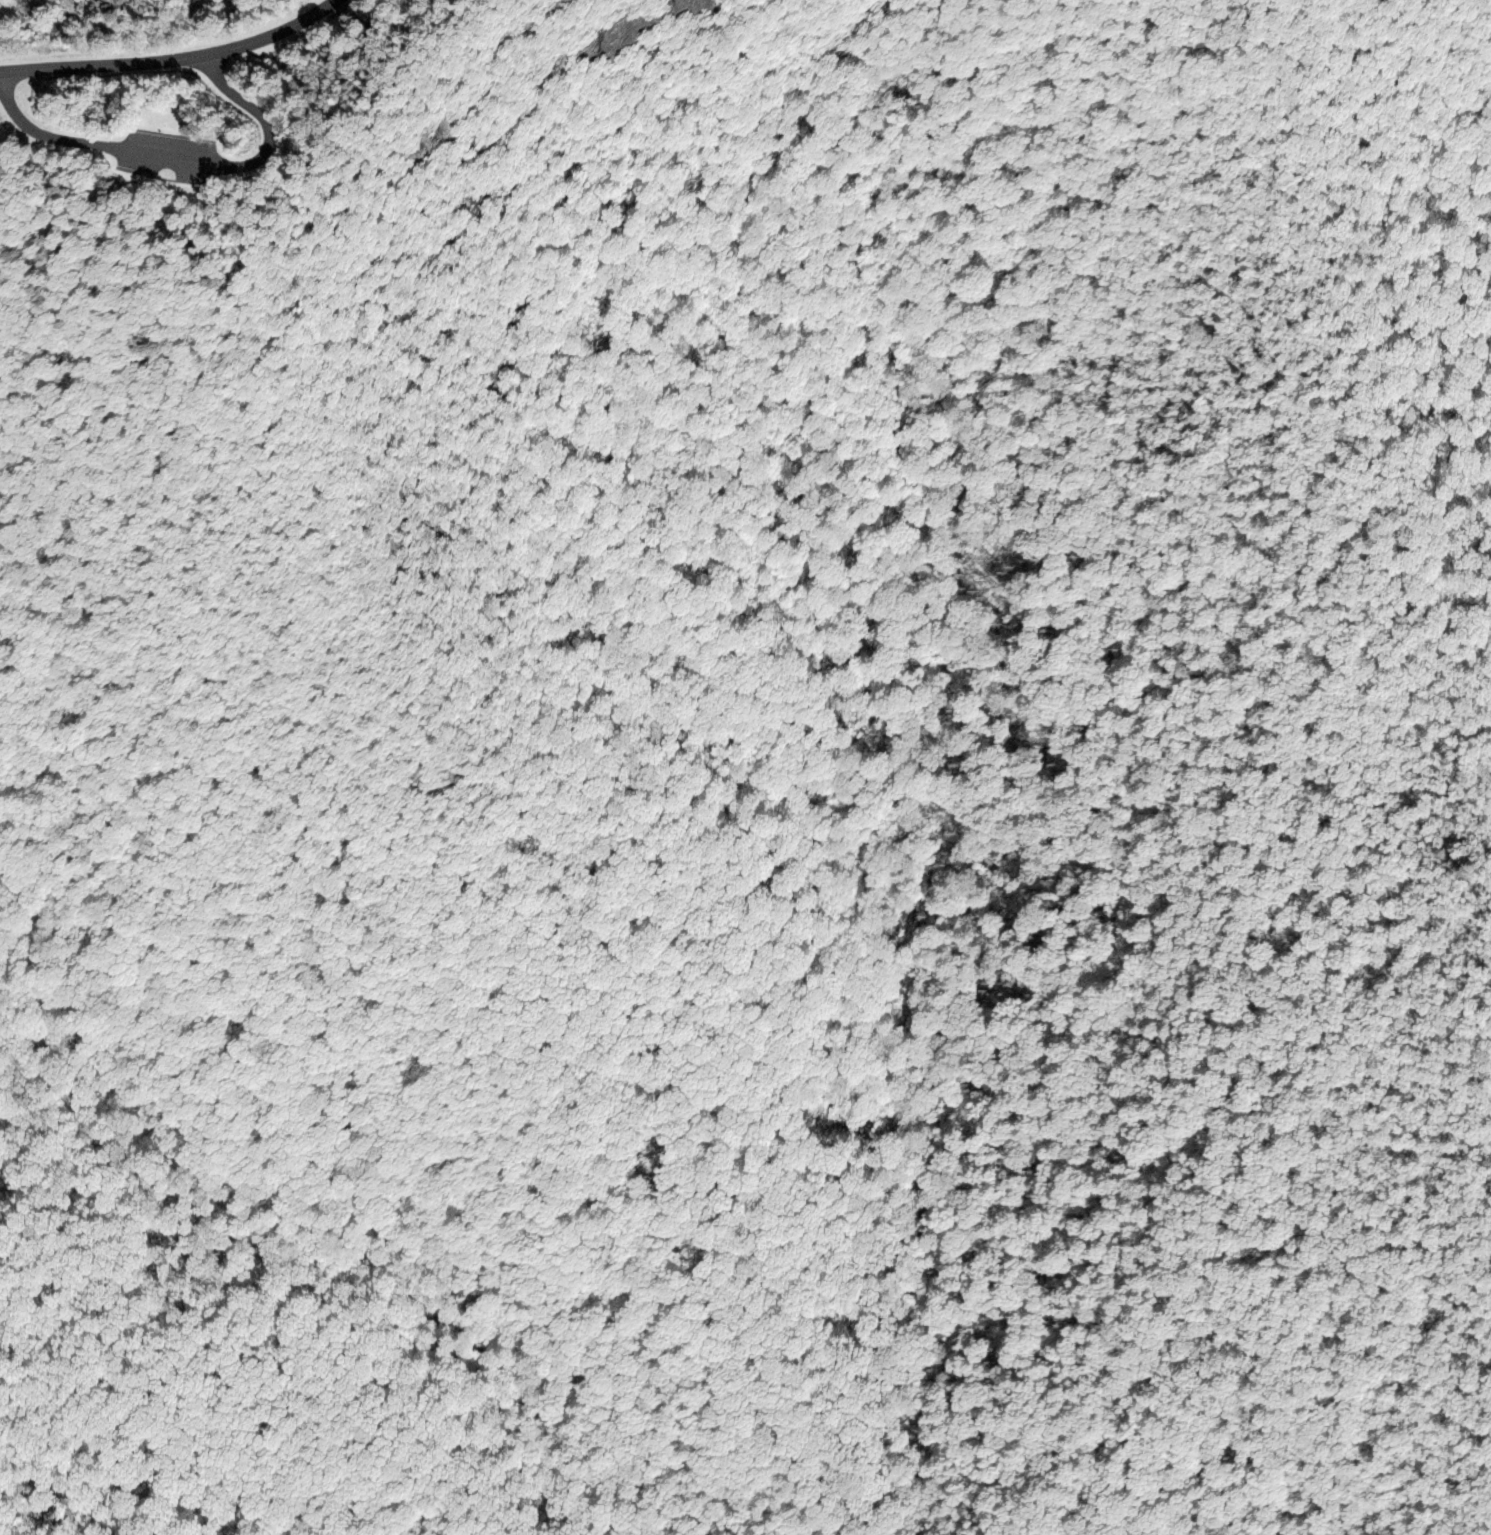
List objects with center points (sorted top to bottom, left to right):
road: (171, 58)
road: (340, 141)
parking lot: (166, 154)
road: (182, 157)
river: (318, 1229)

